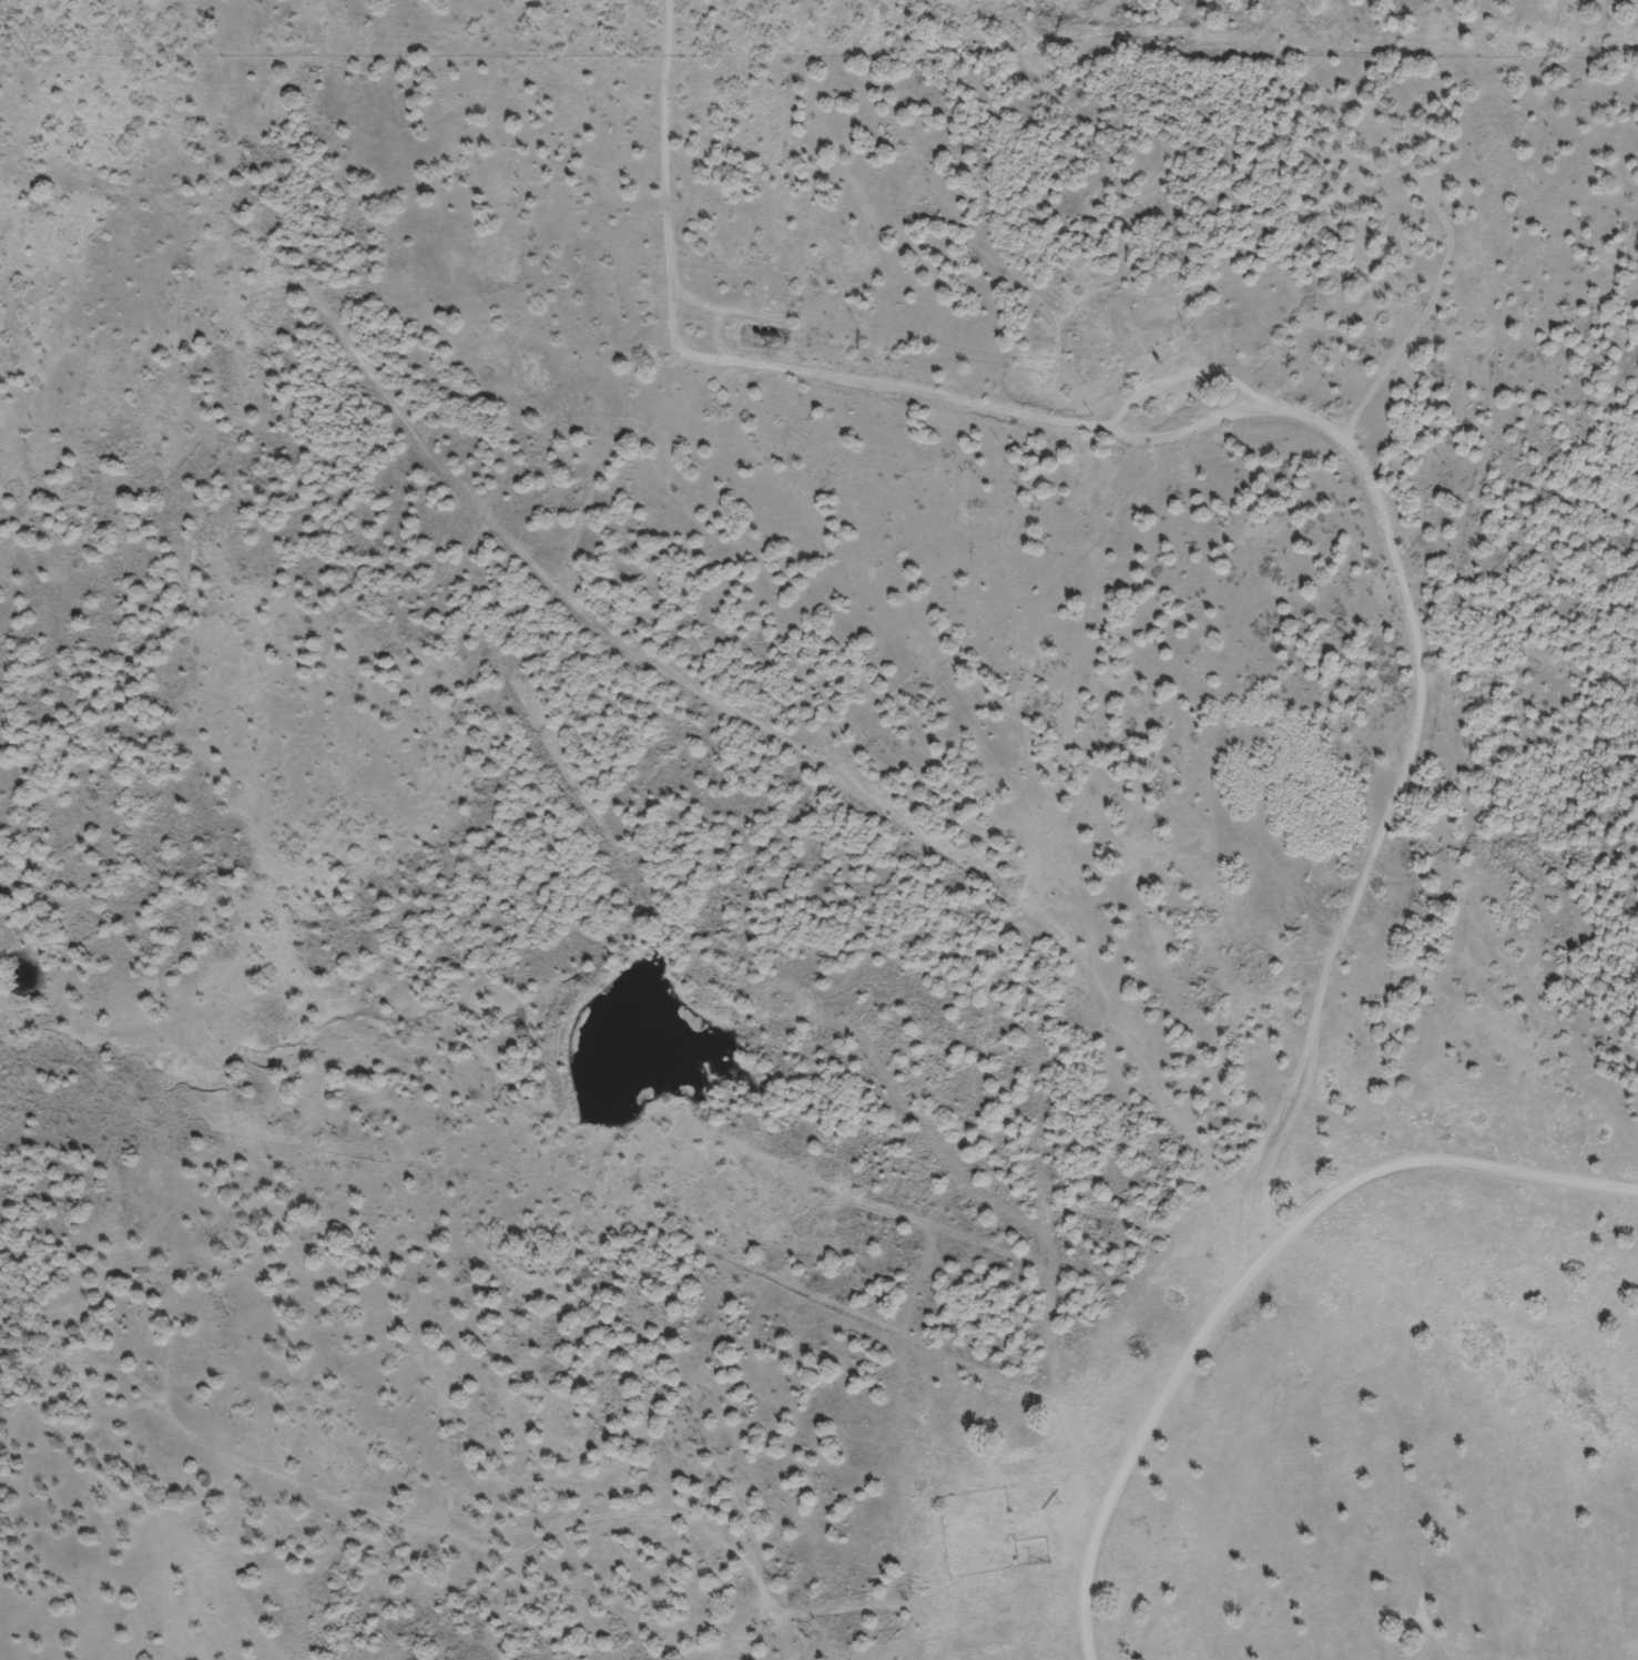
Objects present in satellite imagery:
road: (1125, 295)
road: (1058, 716)
road: (1111, 1519)

